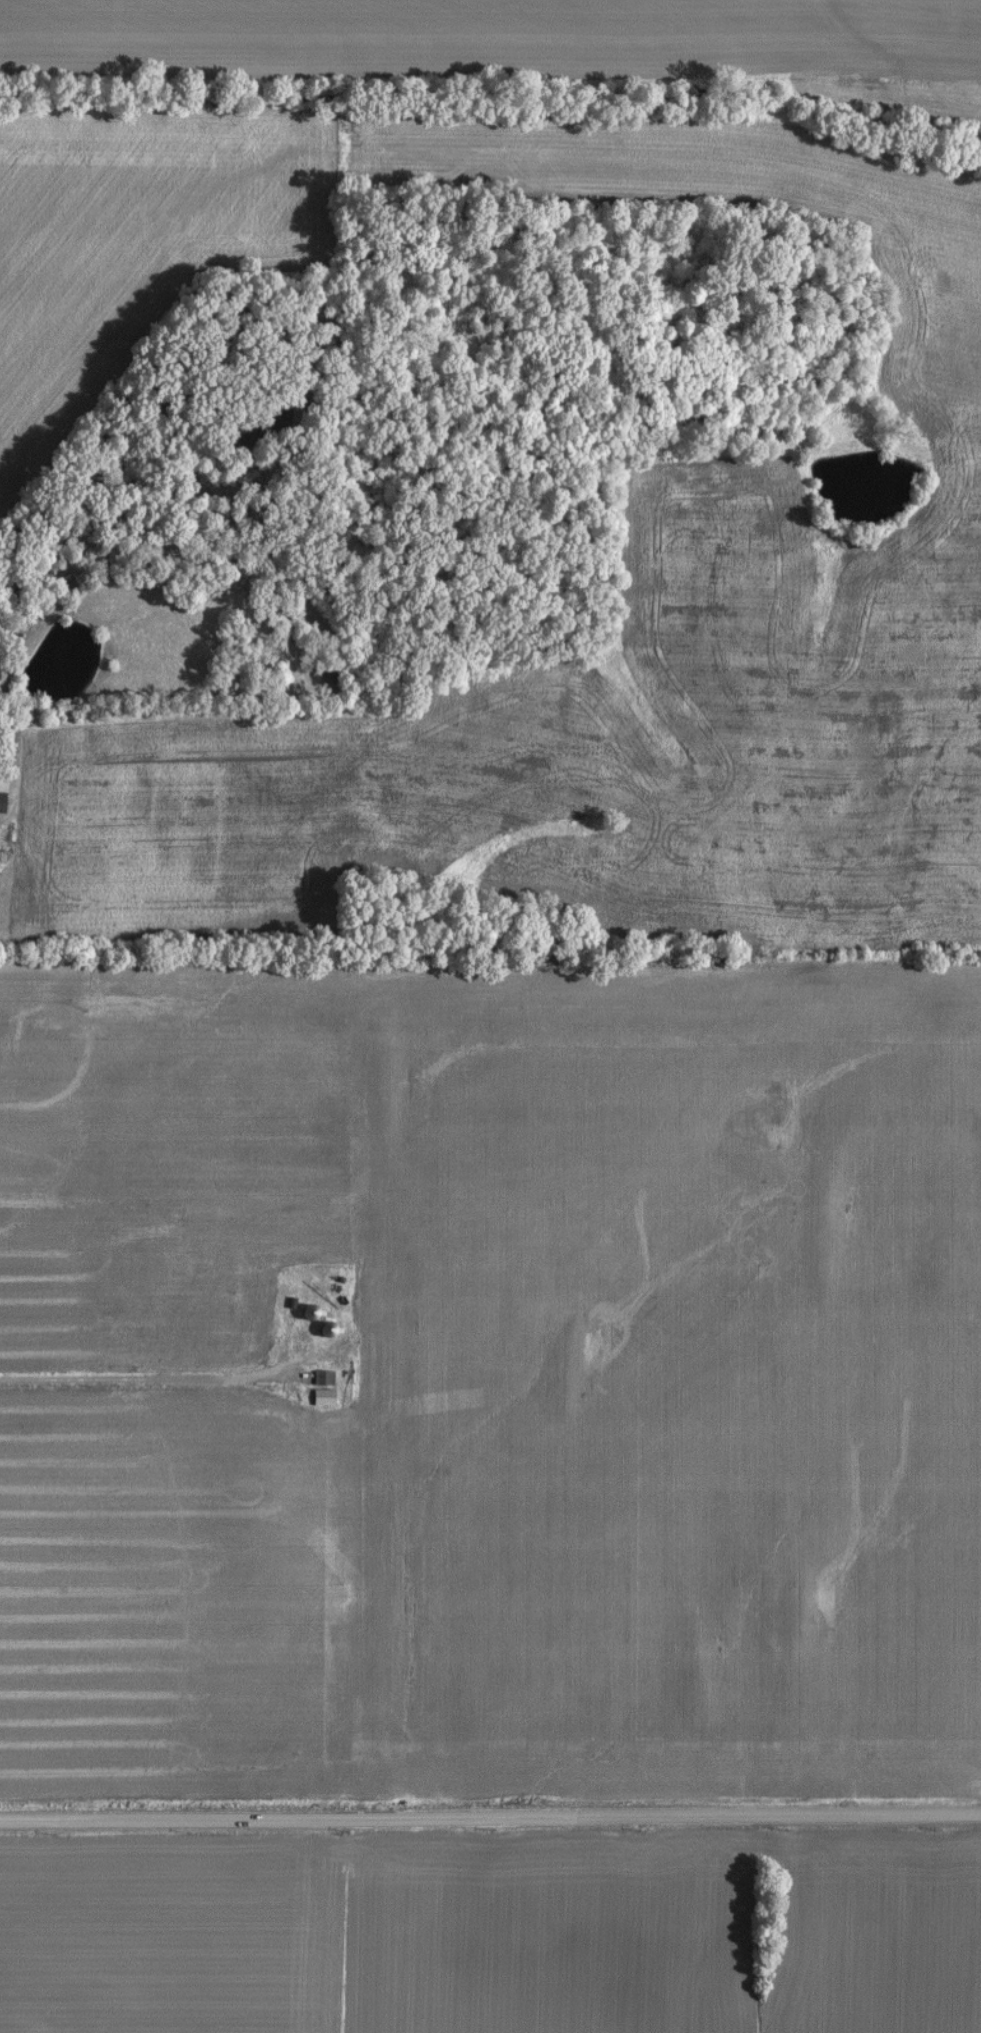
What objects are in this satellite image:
building: (142, 1265)
building: (301, 1346)
building: (317, 1378)
road: (153, 1379)
building: (317, 1397)
road: (490, 1818)

